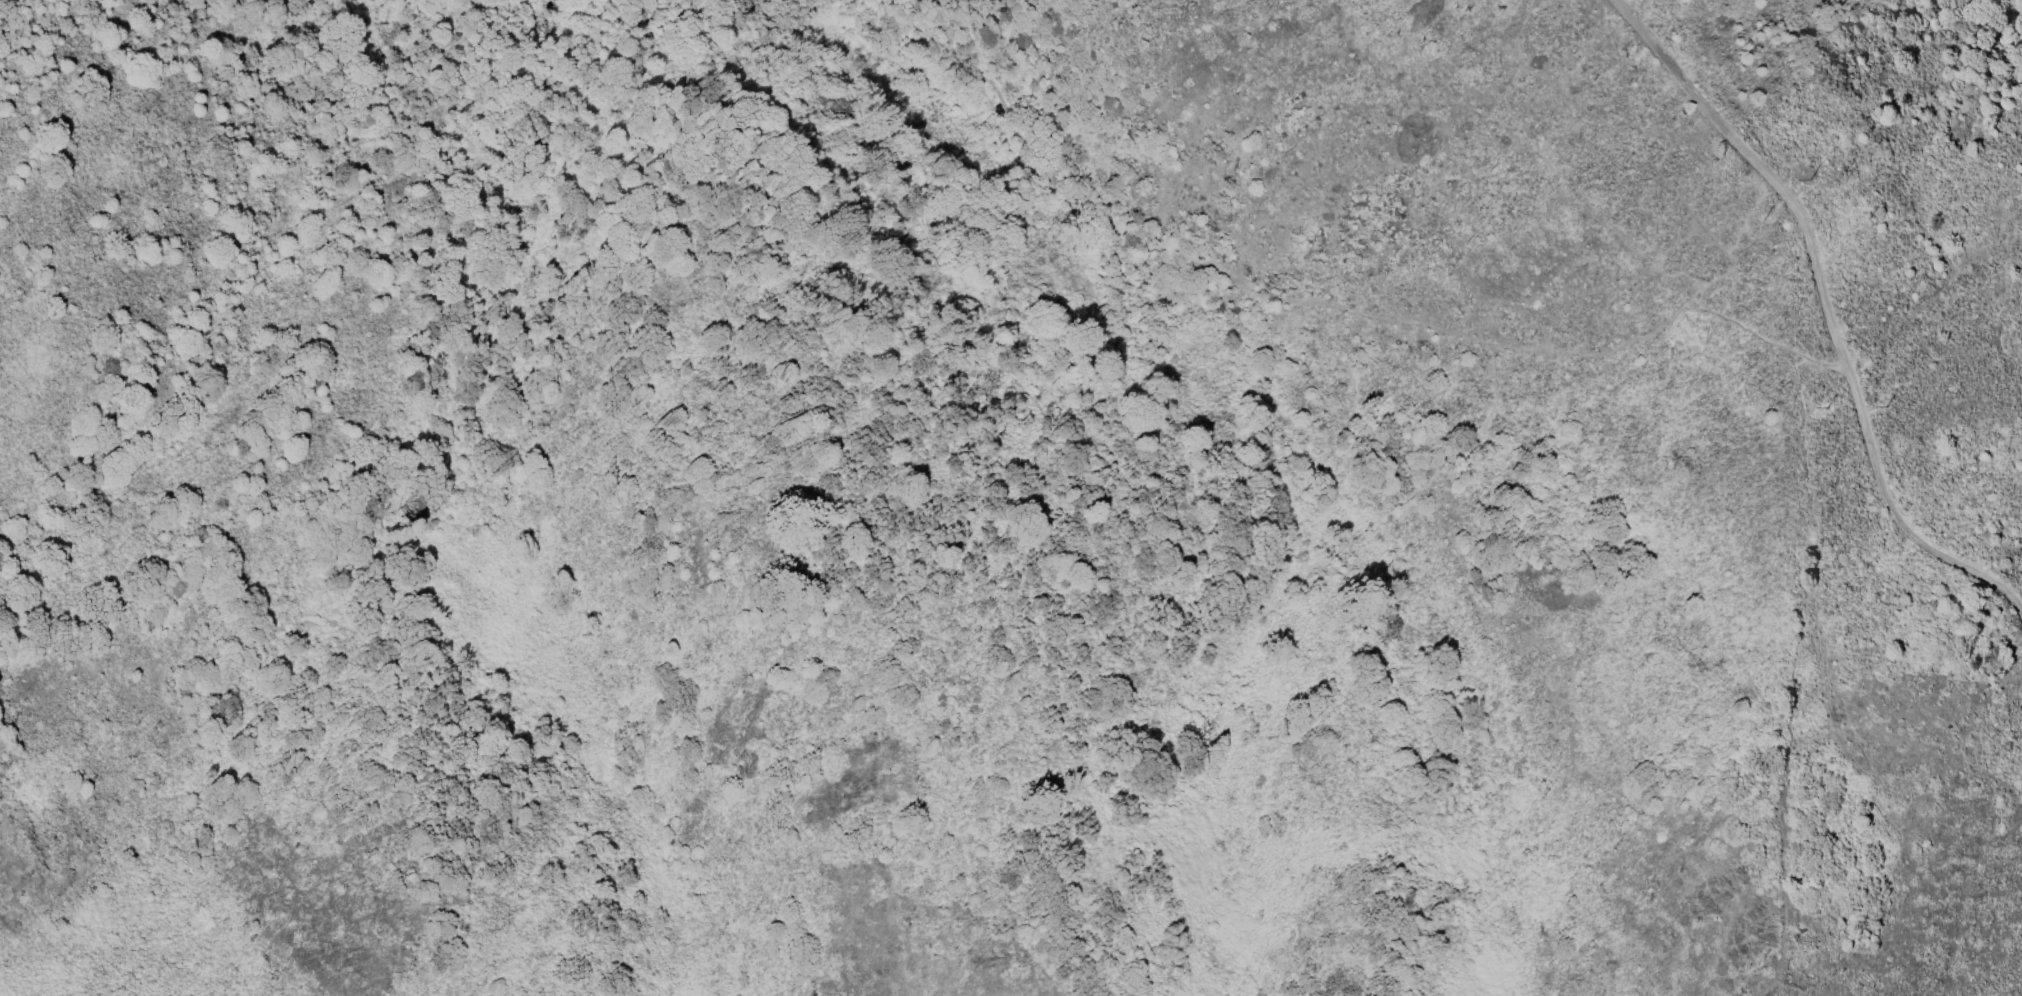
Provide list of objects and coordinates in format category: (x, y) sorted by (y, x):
power tower: (929, 230)
road: (1320, 305)
road: (1826, 309)
power tower: (1198, 525)

